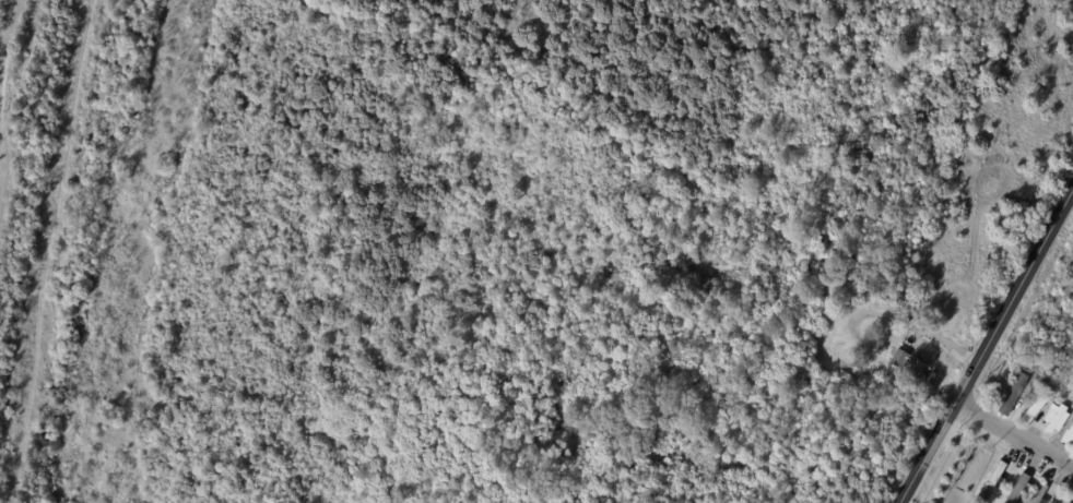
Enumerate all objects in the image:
road: (9, 39)
road: (3, 164)
road: (984, 343)
building: (897, 358)
building: (913, 370)
building: (1013, 393)
building: (1035, 407)
building: (1054, 419)
road: (1013, 433)
building: (1069, 436)
building: (990, 481)
building: (1017, 488)
building: (1038, 493)
building: (1061, 499)

